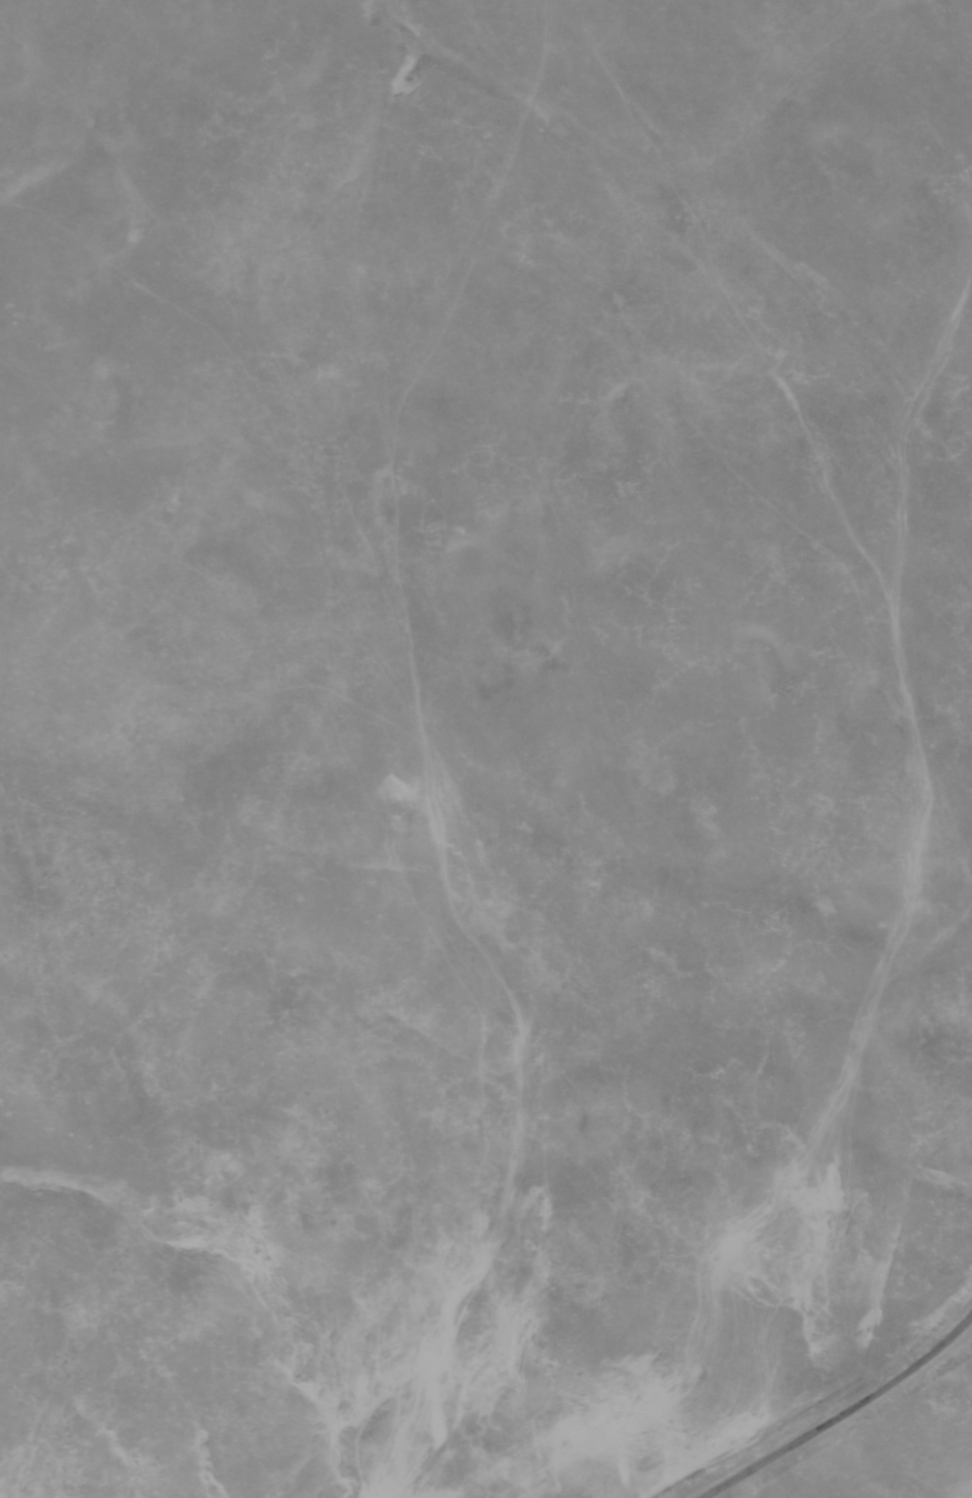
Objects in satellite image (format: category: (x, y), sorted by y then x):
road: (841, 1412)

